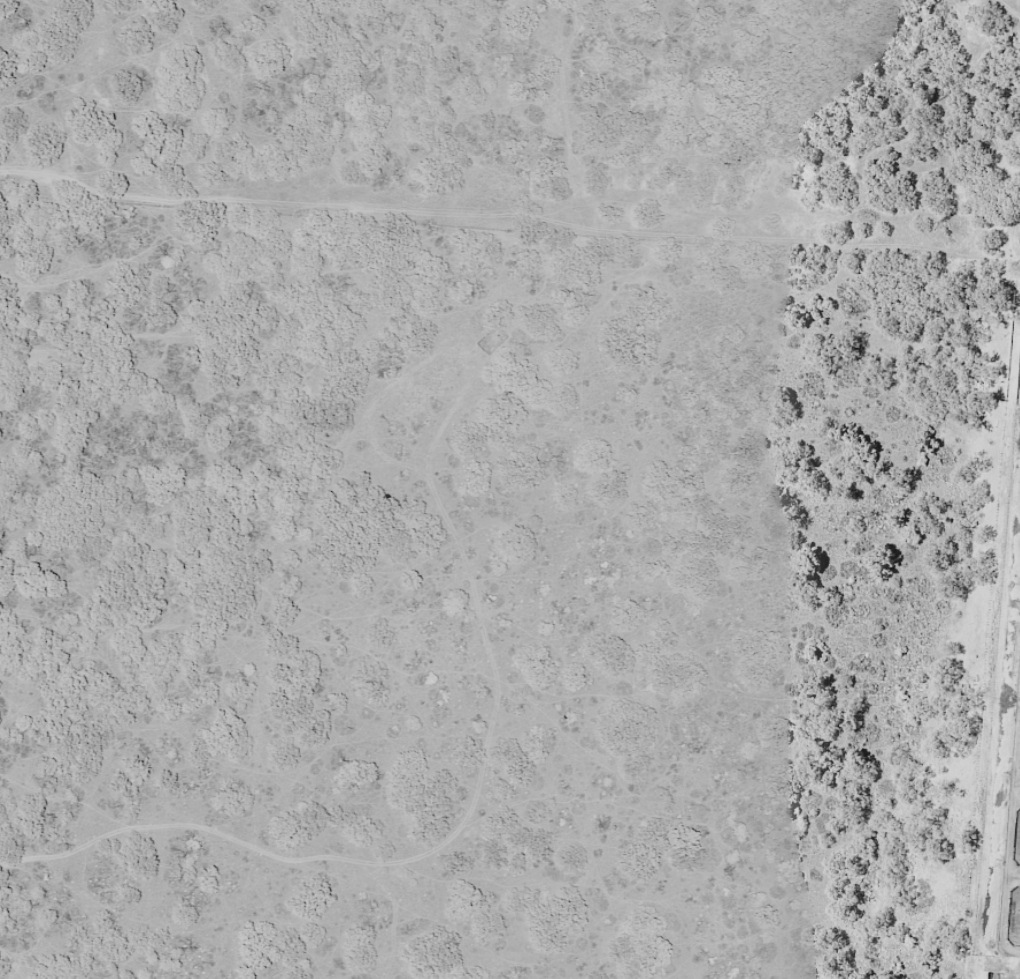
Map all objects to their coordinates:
road: (1018, 698)
road: (1015, 797)
road: (1009, 808)
road: (1012, 879)

